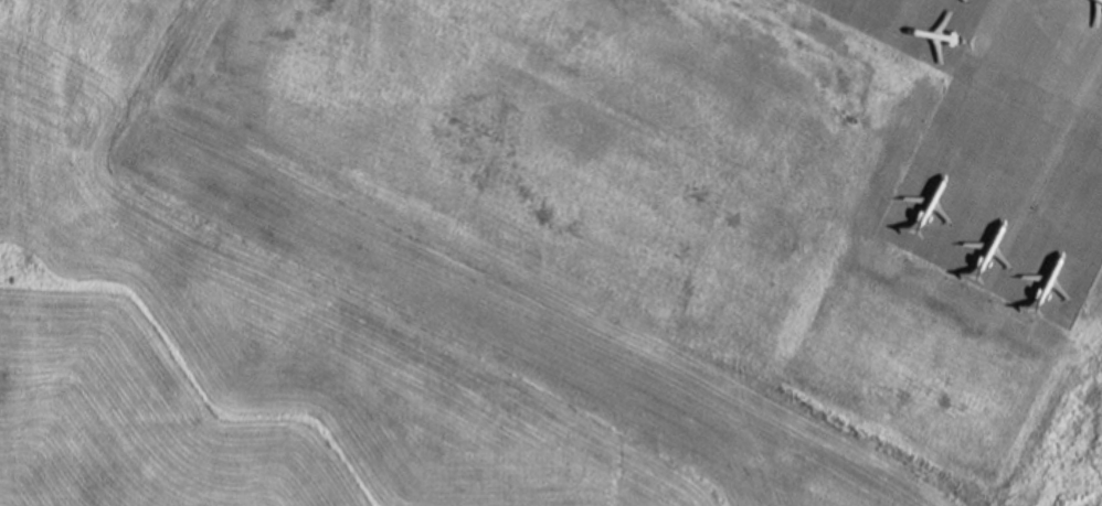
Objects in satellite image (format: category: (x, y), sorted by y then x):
airport apron: (1003, 143)
airport: (551, 252)

